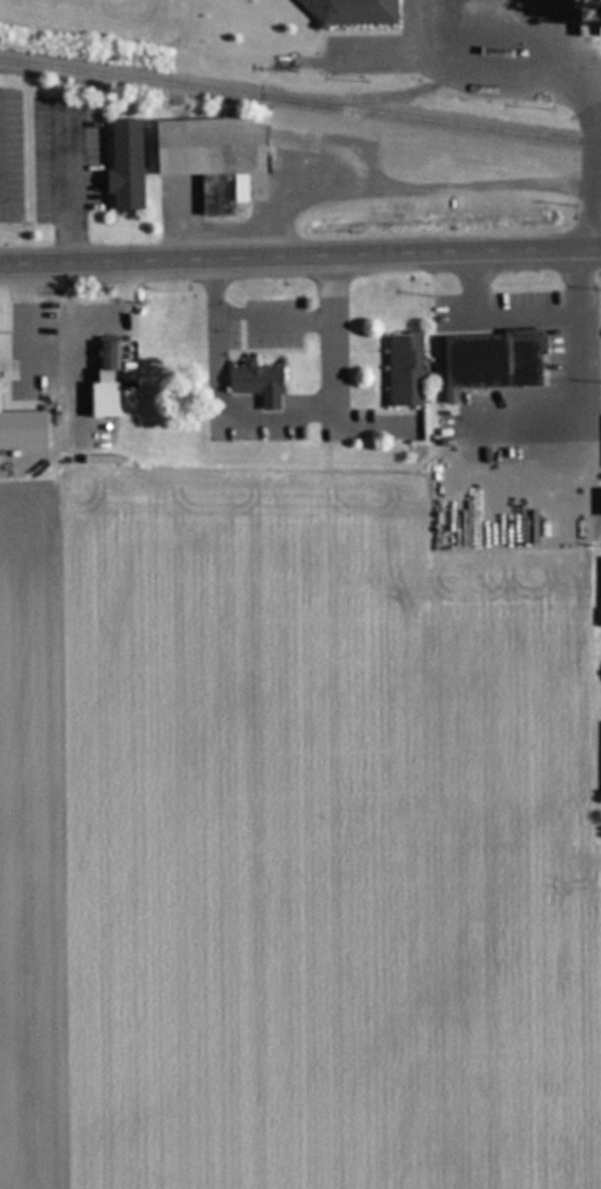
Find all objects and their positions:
building: (347, 11)
railway: (300, 100)
building: (225, 154)
building: (121, 165)
road: (300, 254)
road: (272, 316)
building: (105, 353)
building: (489, 358)
building: (401, 368)
road: (76, 375)
building: (254, 382)
building: (17, 411)
road: (275, 416)

